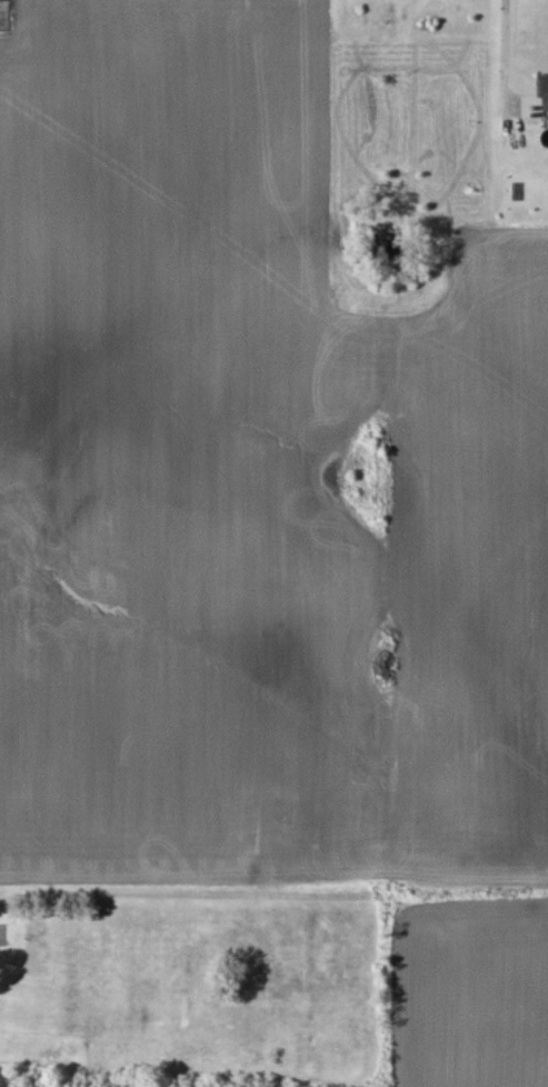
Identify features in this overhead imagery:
road: (504, 41)
building: (544, 88)

